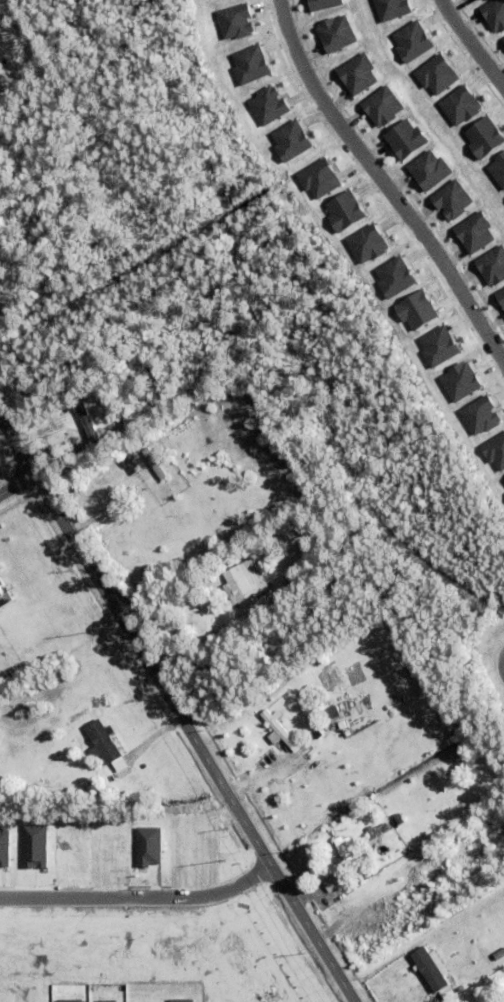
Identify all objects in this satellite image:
building: (479, 0)
building: (323, 4)
building: (392, 8)
building: (495, 15)
building: (235, 21)
building: (336, 33)
building: (411, 40)
road: (470, 45)
building: (250, 64)
building: (357, 73)
building: (437, 74)
building: (268, 104)
building: (382, 105)
building: (460, 105)
building: (484, 136)
building: (405, 138)
building: (291, 139)
building: (429, 169)
building: (498, 171)
building: (319, 177)
road: (385, 185)
building: (452, 199)
building: (344, 210)
building: (474, 232)
building: (367, 243)
building: (491, 266)
building: (394, 276)
building: (502, 288)
building: (416, 310)
building: (438, 345)
building: (459, 381)
building: (85, 403)
building: (479, 415)
building: (86, 423)
building: (494, 451)
building: (155, 463)
building: (130, 470)
building: (503, 477)
road: (17, 486)
building: (1, 583)
building: (245, 583)
building: (295, 583)
building: (4, 598)
road: (503, 666)
road: (177, 709)
building: (330, 713)
building: (341, 725)
building: (277, 730)
building: (103, 742)
building: (376, 831)
building: (346, 851)
building: (330, 885)
road: (140, 898)
building: (430, 968)

